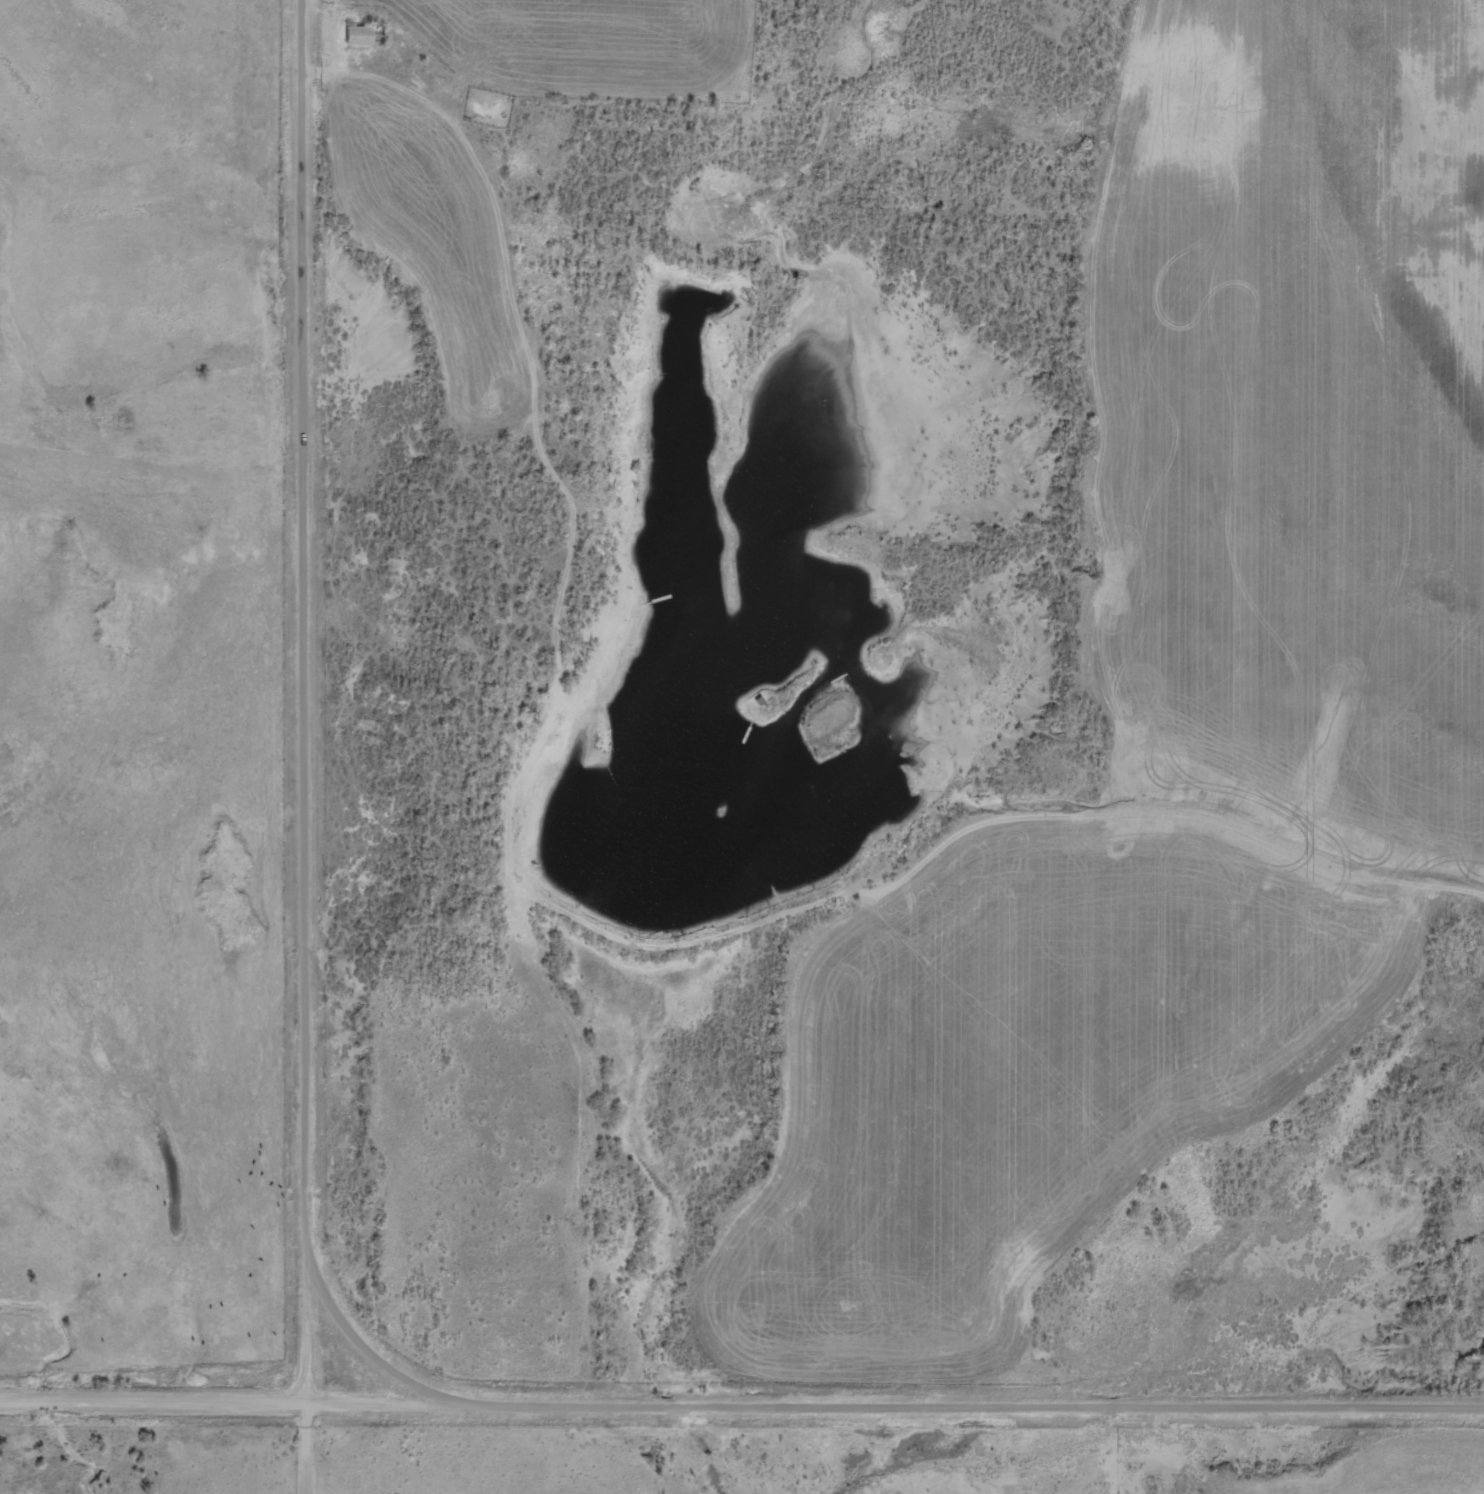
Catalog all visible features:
building: (362, 38)
road: (307, 701)
road: (365, 1343)
road: (741, 1404)
road: (308, 1448)
road: (1171, 1450)

